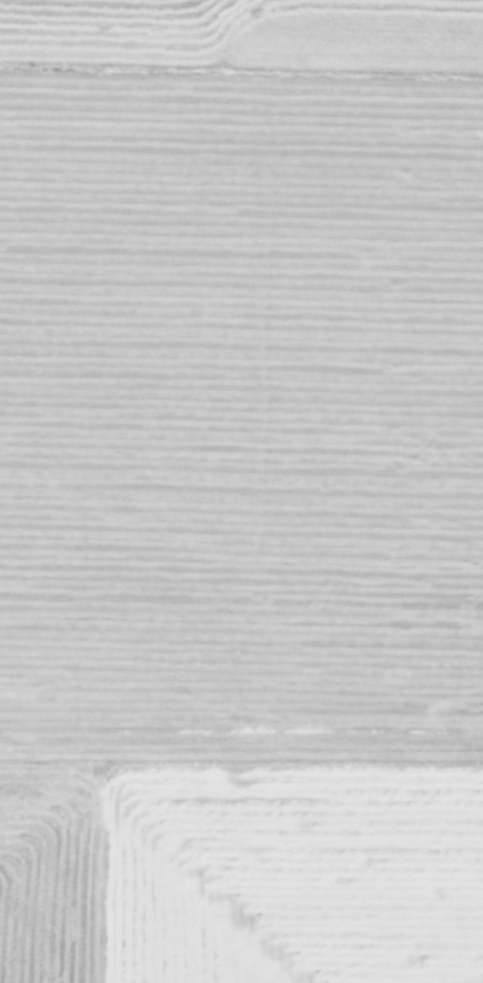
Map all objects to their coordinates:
crop: (241, 491)

